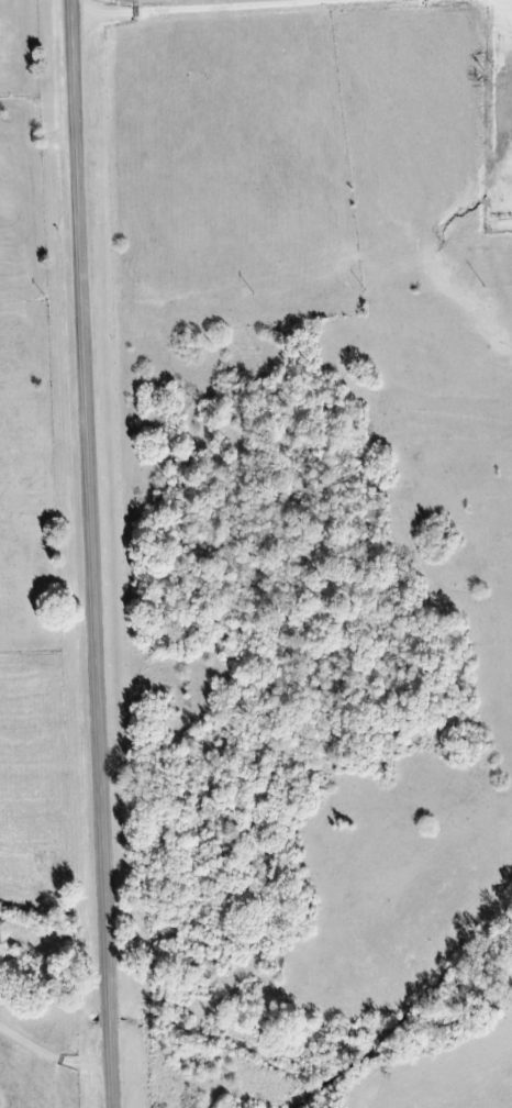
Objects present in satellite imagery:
road: (196, 7)
road: (36, 137)
road: (90, 554)
road: (52, 1057)

